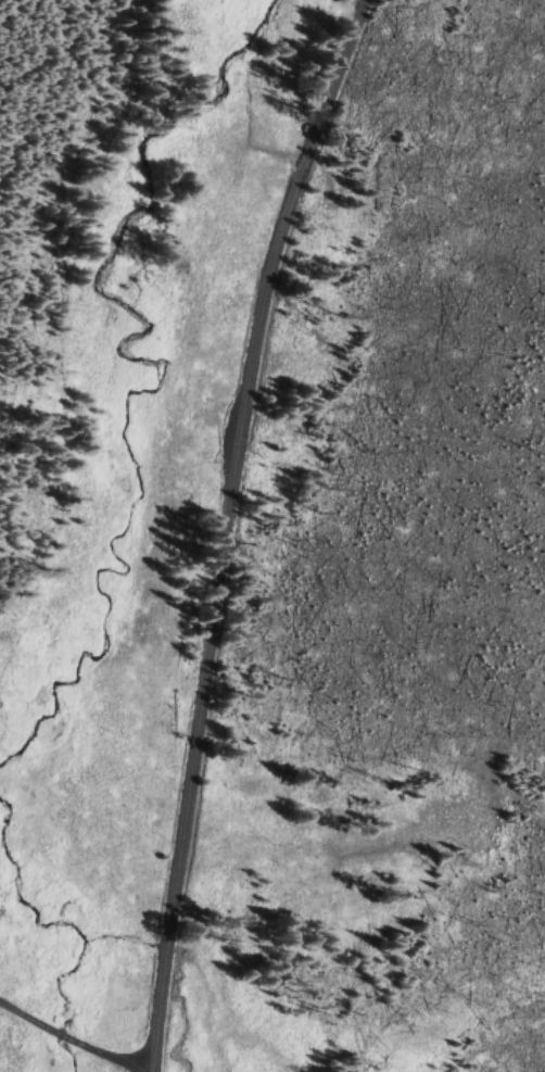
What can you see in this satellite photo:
road: (221, 528)
road: (64, 1048)

